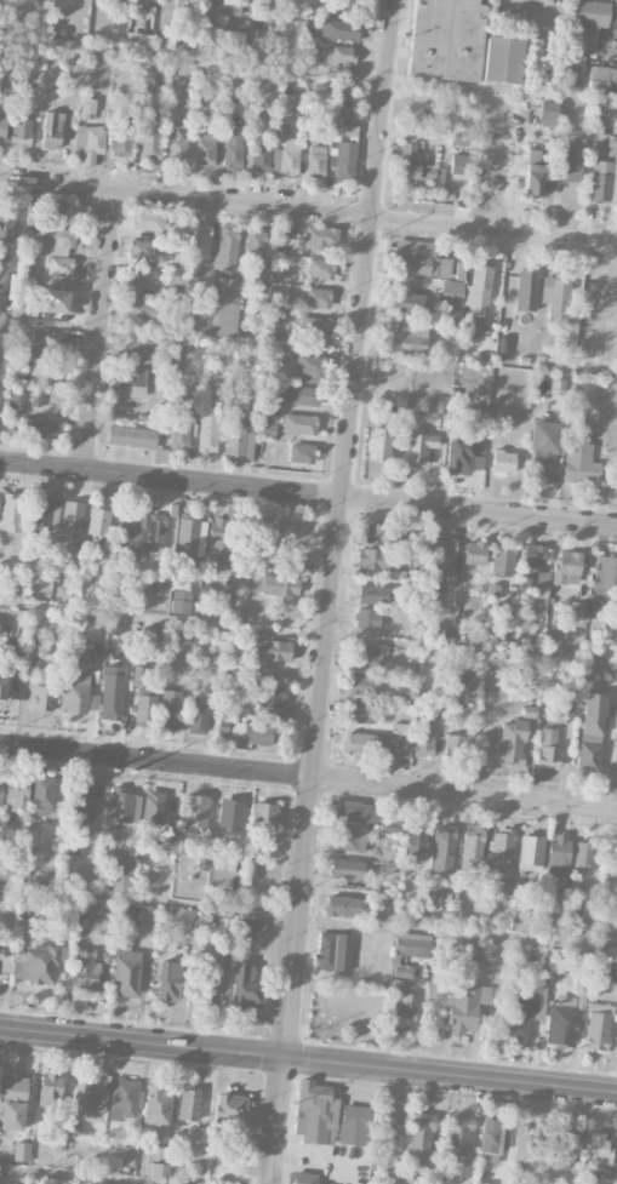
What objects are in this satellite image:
building: (230, 7)
building: (261, 10)
building: (589, 13)
road: (536, 29)
building: (339, 30)
building: (114, 35)
building: (446, 40)
building: (576, 44)
building: (339, 55)
building: (502, 61)
road: (308, 69)
building: (600, 79)
building: (87, 110)
building: (547, 113)
building: (282, 126)
building: (2, 128)
building: (343, 128)
building: (51, 131)
building: (21, 132)
building: (594, 132)
building: (137, 136)
building: (88, 143)
building: (233, 148)
building: (177, 149)
building: (205, 149)
building: (286, 158)
building: (258, 159)
building: (342, 160)
building: (315, 161)
building: (417, 165)
building: (567, 165)
building: (536, 172)
building: (600, 182)
building: (615, 184)
building: (61, 211)
road: (308, 212)
building: (34, 213)
building: (148, 221)
building: (6, 225)
building: (320, 238)
building: (57, 242)
building: (256, 244)
building: (281, 246)
building: (227, 247)
building: (141, 250)
building: (421, 261)
building: (59, 267)
building: (320, 269)
building: (459, 271)
building: (139, 279)
building: (258, 280)
building: (526, 291)
building: (451, 293)
building: (318, 298)
building: (555, 298)
building: (475, 299)
building: (57, 302)
building: (410, 303)
building: (137, 307)
building: (224, 308)
road: (99, 330)
building: (313, 331)
building: (409, 337)
building: (133, 350)
building: (46, 354)
building: (309, 370)
building: (131, 381)
building: (16, 393)
building: (302, 396)
building: (35, 399)
building: (439, 406)
building: (297, 424)
building: (39, 427)
building: (179, 430)
building: (264, 430)
building: (207, 433)
building: (131, 437)
building: (239, 444)
building: (381, 444)
building: (418, 447)
building: (461, 448)
building: (542, 450)
building: (301, 453)
building: (503, 463)
building: (579, 464)
road: (308, 492)
building: (10, 513)
building: (46, 519)
building: (70, 520)
building: (97, 524)
building: (373, 533)
building: (128, 536)
building: (155, 536)
building: (218, 543)
building: (187, 544)
building: (419, 554)
building: (444, 556)
building: (107, 557)
building: (474, 557)
building: (377, 559)
building: (503, 561)
building: (566, 568)
building: (535, 573)
building: (605, 574)
building: (276, 585)
road: (331, 591)
building: (372, 595)
building: (183, 604)
building: (575, 610)
building: (366, 619)
road: (290, 633)
building: (13, 650)
building: (269, 651)
building: (366, 658)
building: (138, 676)
building: (364, 685)
building: (2, 688)
building: (469, 691)
building: (112, 693)
building: (76, 696)
building: (270, 697)
building: (42, 698)
building: (436, 704)
building: (141, 705)
building: (564, 710)
building: (168, 714)
building: (360, 714)
building: (594, 714)
building: (198, 716)
building: (255, 734)
building: (423, 738)
building: (512, 742)
building: (355, 744)
building: (402, 748)
building: (457, 748)
building: (548, 749)
building: (588, 757)
road: (308, 777)
building: (0, 794)
building: (16, 794)
building: (42, 796)
building: (80, 805)
building: (120, 805)
building: (153, 808)
building: (356, 812)
building: (195, 813)
building: (230, 814)
building: (264, 817)
building: (168, 834)
building: (416, 839)
building: (349, 841)
building: (472, 845)
building: (502, 846)
building: (442, 852)
building: (530, 853)
building: (583, 857)
building: (558, 858)
building: (202, 859)
building: (615, 859)
building: (347, 870)
building: (121, 876)
building: (27, 903)
building: (342, 906)
building: (149, 914)
building: (181, 915)
road: (308, 916)
building: (204, 920)
building: (104, 923)
building: (241, 928)
building: (412, 944)
building: (479, 950)
building: (164, 951)
building: (332, 953)
building: (0, 954)
building: (38, 963)
building: (125, 965)
building: (544, 967)
building: (86, 972)
building: (168, 982)
building: (213, 983)
building: (246, 988)
building: (401, 1001)
building: (459, 1002)
building: (569, 1007)
building: (520, 1012)
building: (598, 1028)
road: (308, 1060)
building: (48, 1089)
building: (88, 1098)
building: (124, 1098)
building: (12, 1102)
building: (188, 1105)
building: (156, 1106)
building: (229, 1112)
building: (314, 1112)
building: (354, 1125)
building: (457, 1138)
building: (416, 1140)
building: (489, 1142)
building: (526, 1144)
building: (564, 1148)
building: (598, 1149)
building: (21, 1152)
building: (159, 1172)
road: (64, 1177)
building: (304, 1178)
building: (480, 1183)

